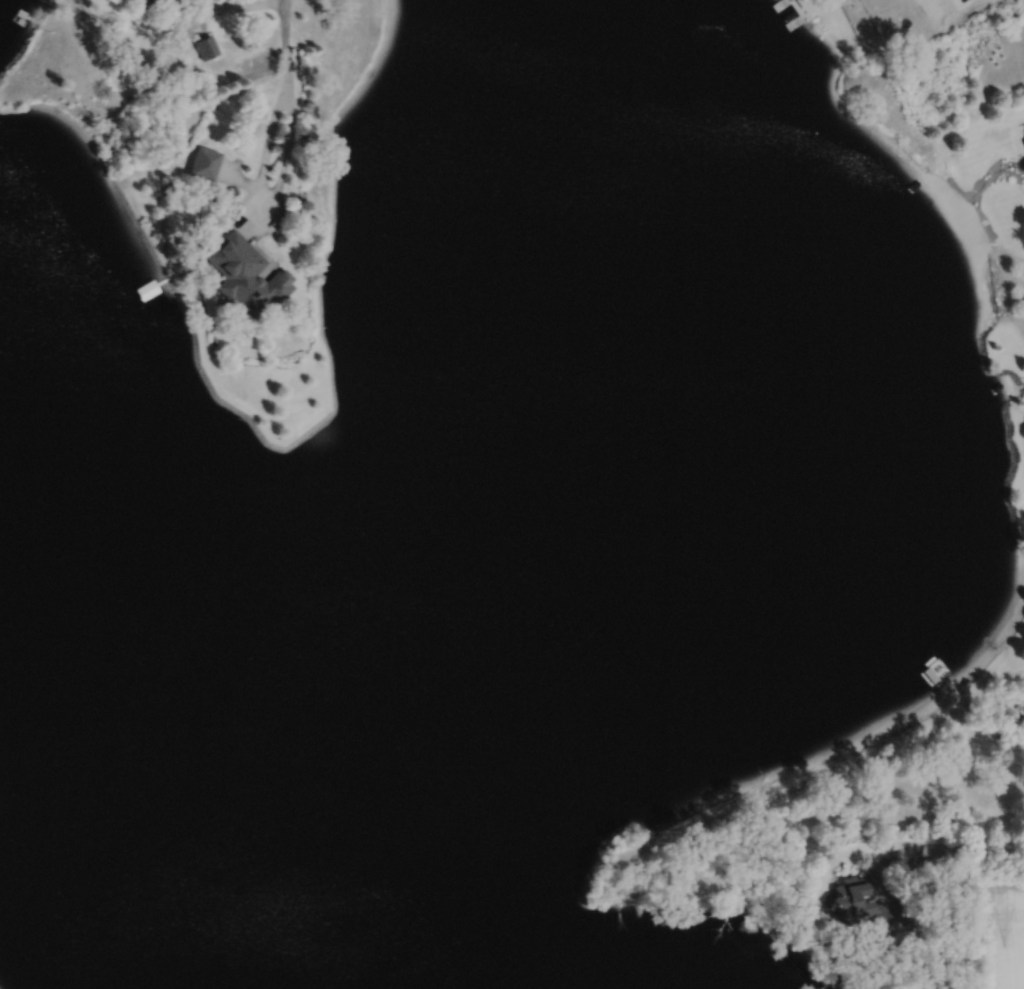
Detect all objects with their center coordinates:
building: (144, 0)
building: (148, 1)
building: (816, 4)
road: (223, 7)
building: (206, 45)
road: (284, 46)
building: (1023, 135)
building: (205, 161)
building: (1023, 163)
road: (267, 191)
building: (246, 273)
building: (147, 290)
road: (972, 850)
road: (878, 882)
building: (860, 905)
road: (920, 934)
building: (937, 964)
building: (910, 987)

